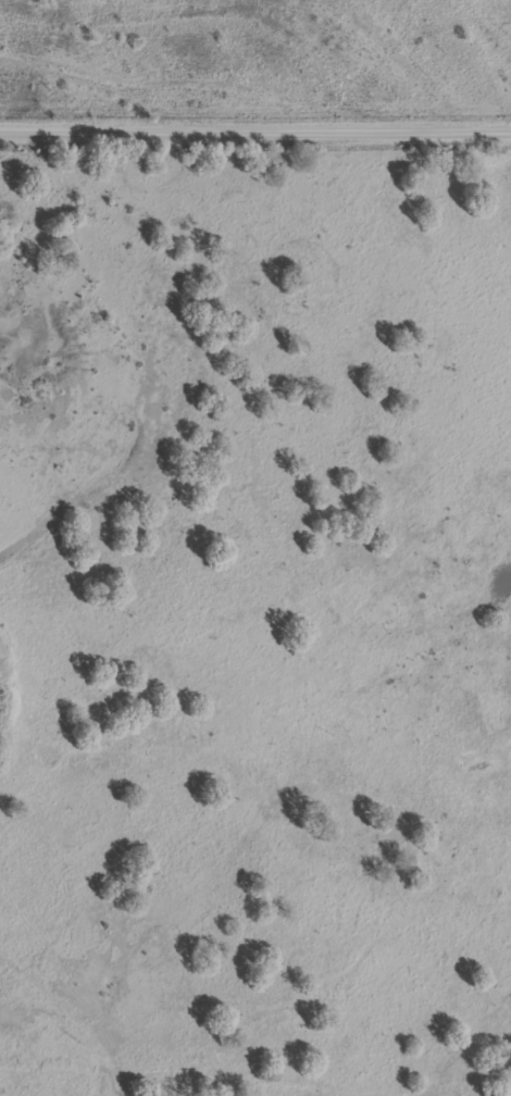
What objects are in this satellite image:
road: (254, 132)

